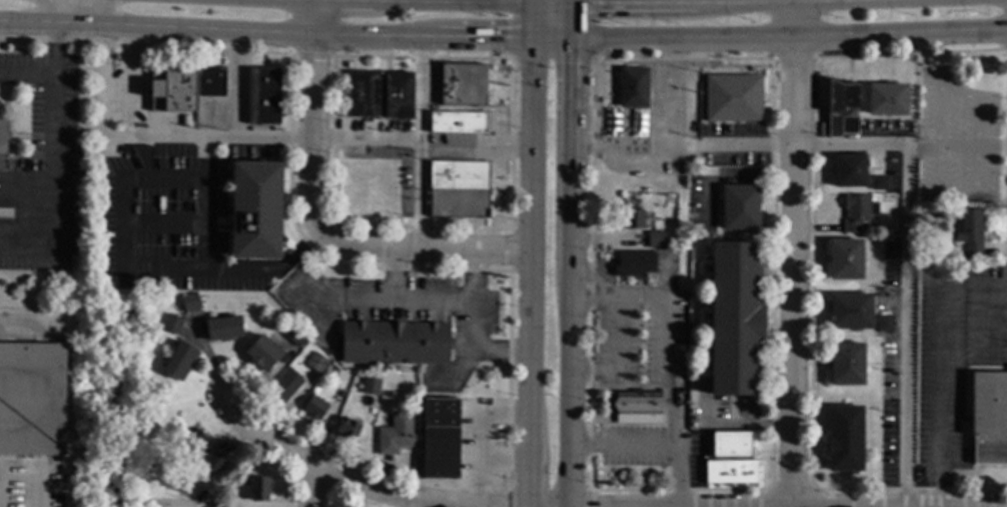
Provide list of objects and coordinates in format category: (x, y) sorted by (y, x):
road: (441, 1)
road: (530, 1)
road: (574, 1)
road: (597, 1)
traffic signals: (599, 1)
road: (552, 2)
road: (392, 3)
road: (531, 20)
road: (574, 21)
road: (265, 33)
traffic signals: (507, 38)
road: (553, 39)
road: (791, 39)
road: (553, 57)
traffic signals: (574, 63)
road: (105, 71)
road: (30, 73)
building: (588, 81)
building: (463, 85)
building: (184, 86)
building: (633, 86)
road: (530, 89)
building: (379, 94)
building: (264, 95)
building: (733, 97)
building: (886, 99)
building: (841, 108)
road: (313, 112)
building: (458, 122)
building: (3, 136)
road: (316, 141)
road: (421, 144)
road: (957, 148)
road: (571, 153)
building: (143, 156)
road: (906, 156)
road: (209, 158)
road: (60, 161)
building: (849, 170)
building: (879, 183)
building: (459, 189)
building: (888, 198)
building: (739, 206)
building: (255, 210)
building: (856, 211)
building: (633, 218)
building: (968, 230)
building: (656, 239)
road: (120, 242)
road: (416, 252)
road: (795, 253)
building: (959, 257)
building: (844, 259)
building: (634, 262)
building: (876, 281)
road: (569, 285)
road: (432, 298)
road: (593, 298)
road: (372, 301)
building: (190, 302)
road: (477, 305)
building: (849, 311)
building: (735, 318)
building: (885, 322)
building: (172, 324)
road: (528, 324)
road: (24, 325)
building: (224, 328)
building: (295, 335)
building: (395, 342)
road: (670, 351)
building: (263, 352)
road: (618, 357)
road: (479, 358)
building: (179, 360)
building: (316, 362)
building: (845, 363)
road: (938, 368)
building: (285, 385)
building: (372, 386)
building: (341, 393)
building: (32, 398)
park: (113, 399)
building: (635, 404)
road: (568, 405)
building: (315, 407)
building: (989, 417)
building: (347, 428)
building: (395, 433)
building: (440, 438)
building: (844, 438)
building: (198, 441)
road: (620, 444)
building: (731, 444)
building: (214, 462)
building: (730, 472)
road: (336, 478)
road: (310, 488)
building: (258, 489)
road: (162, 501)
building: (215, 501)
road: (415, 505)

